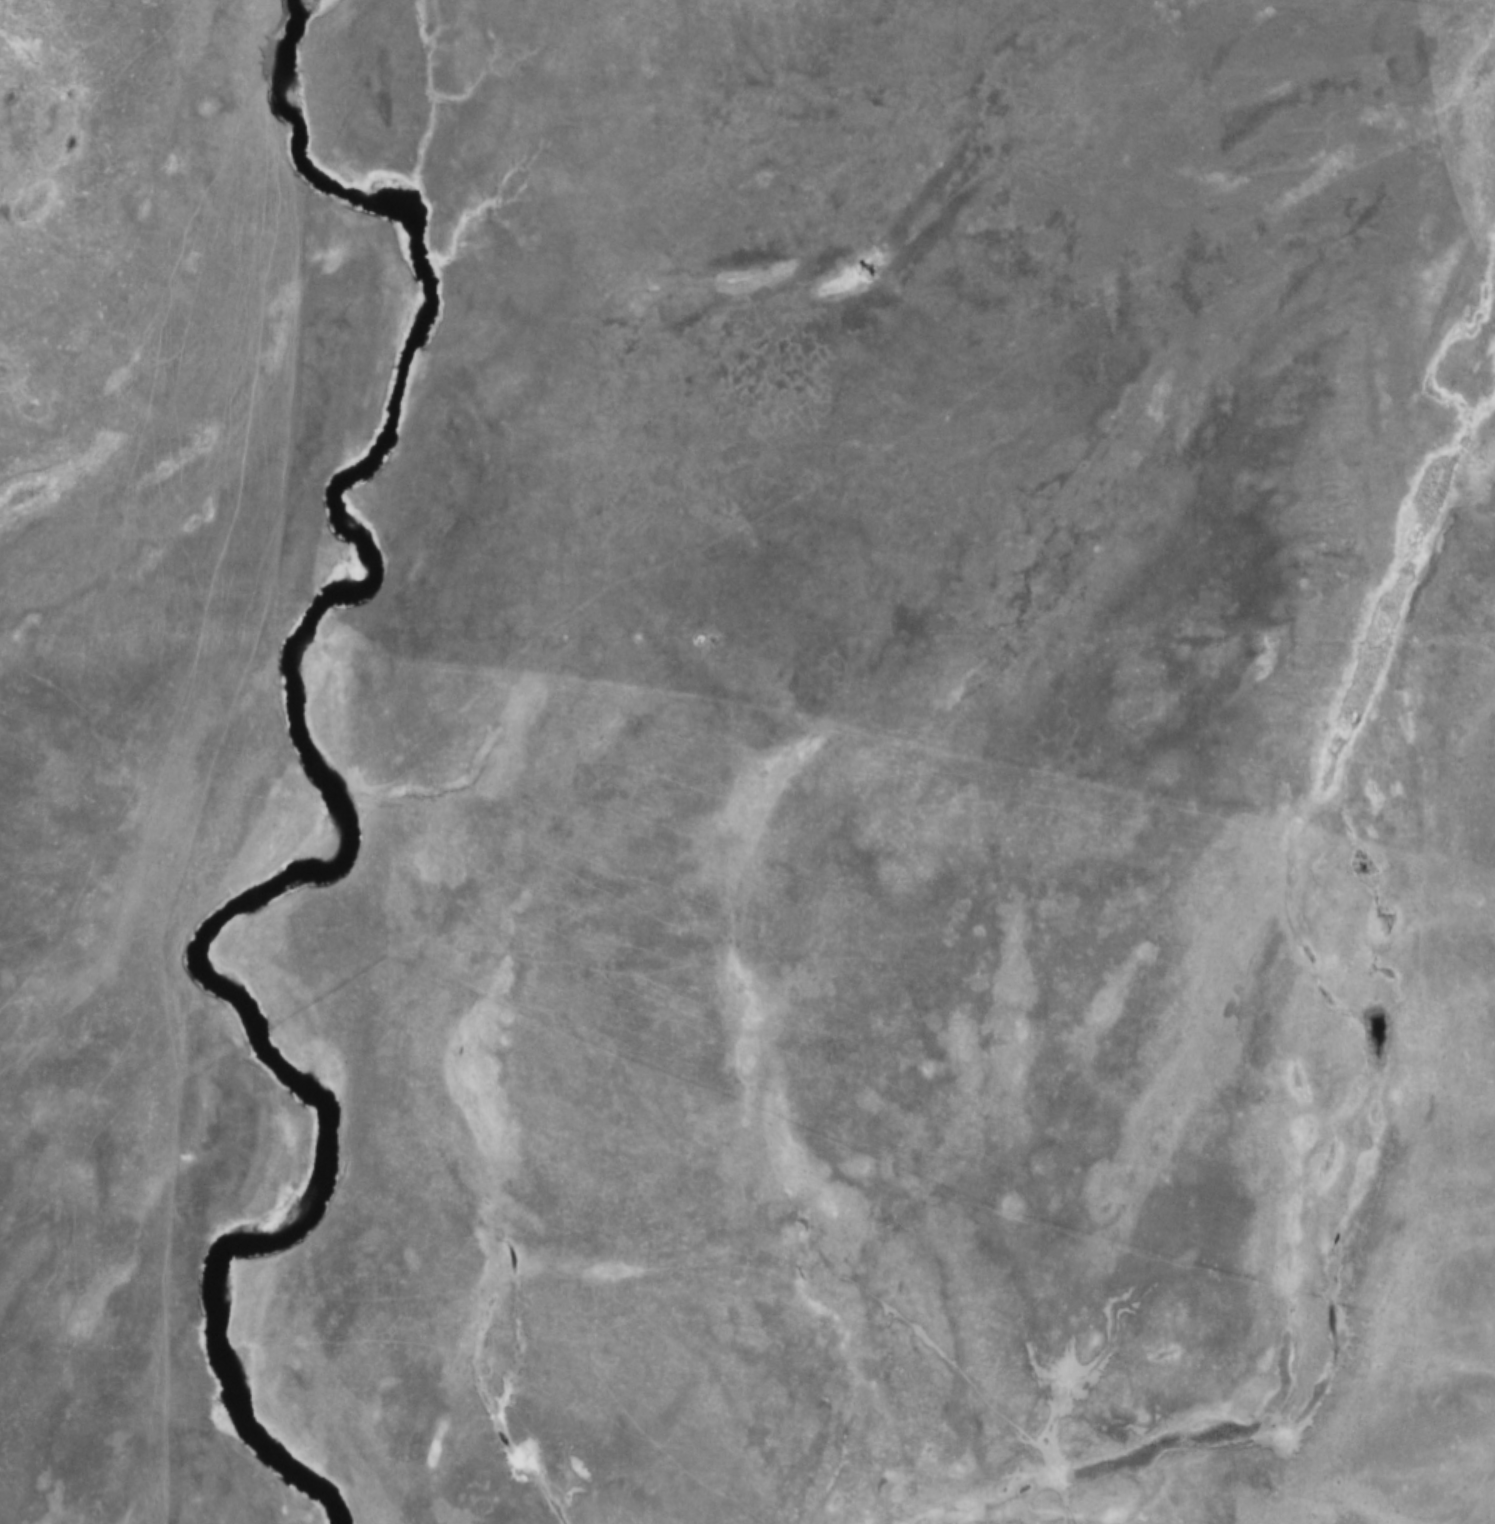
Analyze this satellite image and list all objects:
road: (1473, 1496)

